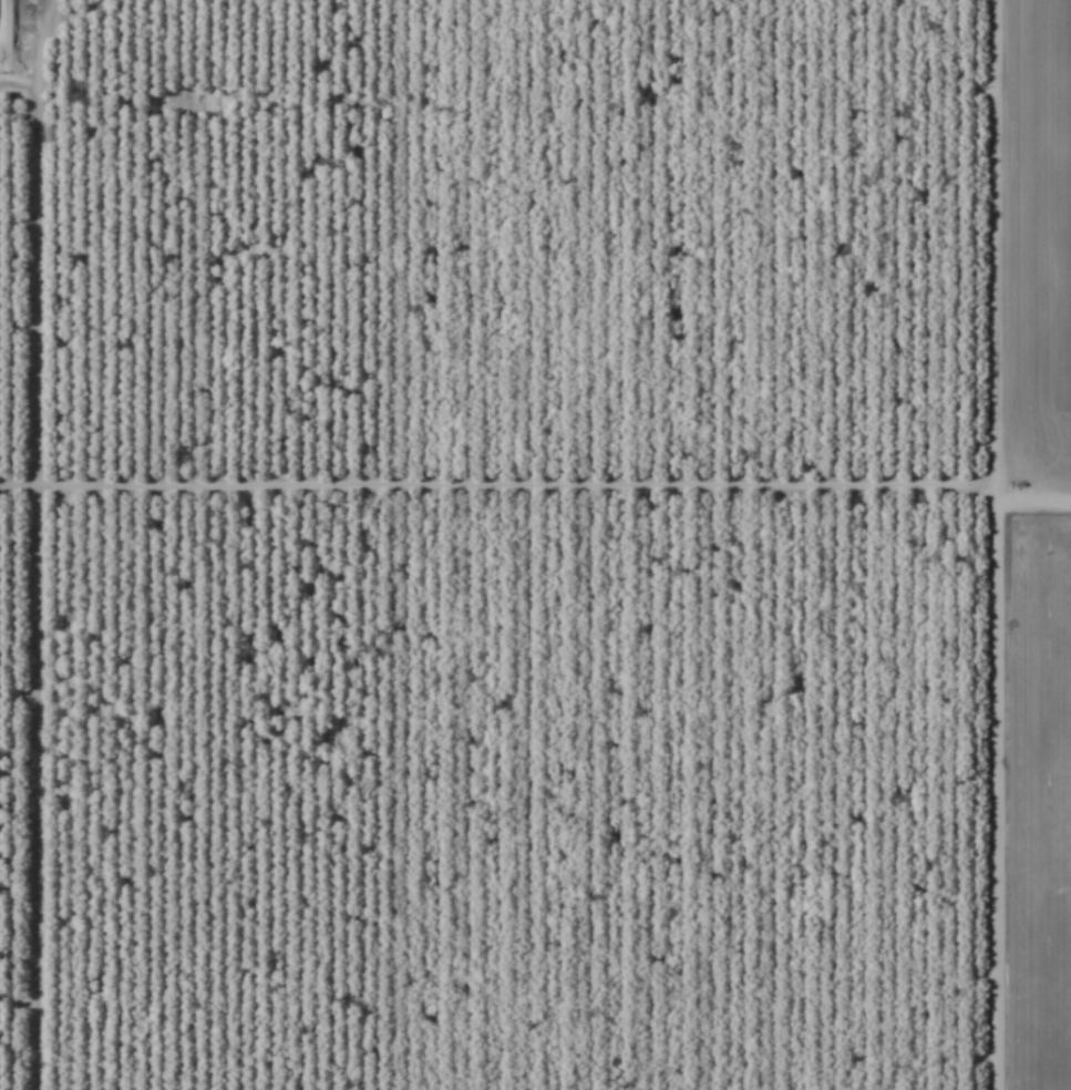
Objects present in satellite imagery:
road: (986, 545)

